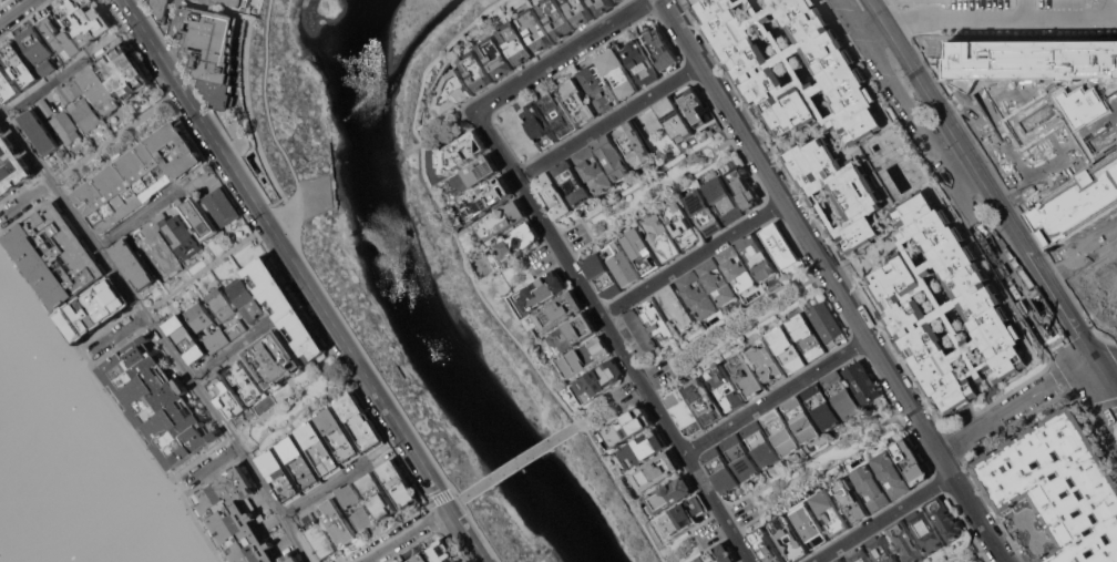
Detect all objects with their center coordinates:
building: (619, 0)
building: (225, 2)
building: (603, 6)
road: (13, 9)
building: (161, 9)
building: (580, 11)
road: (965, 13)
building: (556, 18)
road: (853, 18)
building: (84, 20)
road: (172, 28)
building: (536, 30)
building: (59, 38)
building: (516, 42)
building: (39, 49)
building: (659, 49)
building: (213, 51)
road: (562, 54)
building: (496, 57)
building: (639, 62)
building: (19, 64)
building: (122, 68)
building: (476, 70)
building: (617, 73)
building: (7, 85)
road: (41, 88)
building: (598, 88)
building: (69, 91)
building: (98, 91)
building: (454, 91)
road: (901, 94)
building: (578, 100)
building: (696, 105)
building: (44, 108)
building: (84, 113)
building: (558, 113)
building: (674, 119)
building: (1055, 119)
road: (608, 120)
road: (270, 123)
building: (539, 125)
building: (65, 126)
building: (39, 133)
road: (987, 134)
road: (117, 135)
road: (237, 135)
road: (25, 144)
building: (634, 144)
building: (462, 151)
building: (614, 156)
building: (12, 166)
building: (594, 170)
building: (474, 174)
building: (139, 176)
road: (1036, 177)
road: (983, 178)
building: (573, 182)
road: (959, 185)
building: (742, 186)
road: (650, 188)
building: (553, 195)
building: (870, 196)
building: (488, 197)
road: (25, 200)
building: (724, 200)
building: (223, 206)
building: (704, 212)
building: (198, 216)
road: (139, 218)
building: (502, 219)
building: (683, 224)
building: (178, 233)
building: (139, 234)
building: (663, 237)
road: (994, 241)
building: (515, 242)
building: (778, 245)
building: (643, 251)
building: (55, 254)
building: (162, 255)
building: (758, 256)
road: (693, 258)
building: (622, 263)
building: (133, 264)
road: (206, 267)
building: (737, 268)
building: (602, 275)
road: (306, 280)
road: (833, 280)
building: (717, 282)
road: (475, 286)
building: (542, 290)
building: (697, 294)
building: (246, 298)
building: (221, 305)
building: (286, 307)
building: (677, 307)
building: (93, 308)
building: (560, 310)
road: (1042, 314)
building: (656, 318)
building: (827, 324)
building: (206, 325)
building: (236, 328)
road: (736, 328)
building: (637, 333)
road: (116, 334)
building: (572, 334)
road: (612, 335)
building: (807, 336)
building: (186, 339)
building: (787, 349)
road: (228, 350)
road: (1105, 355)
building: (584, 356)
traffic signals: (1093, 358)
building: (275, 359)
road: (1084, 361)
building: (767, 362)
road: (1097, 366)
road: (184, 369)
road: (1079, 371)
road: (1109, 372)
traffic signals: (1103, 374)
building: (747, 375)
road: (1093, 376)
traffic signals: (1084, 378)
building: (598, 379)
building: (246, 381)
building: (862, 381)
road: (1109, 385)
building: (726, 387)
building: (842, 394)
building: (227, 395)
road: (776, 395)
building: (706, 400)
building: (157, 403)
road: (613, 405)
road: (1100, 405)
building: (821, 406)
road: (300, 407)
road: (1007, 409)
building: (685, 412)
building: (801, 419)
building: (360, 421)
building: (628, 426)
building: (781, 431)
building: (339, 435)
building: (760, 445)
building: (319, 449)
building: (643, 449)
road: (158, 457)
building: (740, 457)
building: (910, 460)
road: (521, 461)
building: (300, 462)
road: (820, 467)
road: (209, 468)
building: (720, 469)
building: (656, 471)
building: (891, 473)
building: (281, 476)
building: (399, 484)
building: (870, 487)
road: (324, 489)
building: (1055, 491)
building: (349, 494)
building: (378, 495)
building: (669, 495)
building: (849, 499)
road: (455, 503)
building: (830, 511)
building: (682, 515)
building: (944, 517)
building: (234, 518)
road: (882, 518)
building: (363, 519)
building: (338, 522)
building: (809, 523)
building: (925, 531)
road: (406, 534)
building: (318, 537)
road: (710, 537)
building: (790, 538)
building: (905, 543)
building: (767, 545)
building: (882, 549)
building: (442, 552)
building: (718, 554)
building: (858, 554)
road: (983, 554)
building: (291, 556)
building: (420, 558)
building: (839, 560)
building: (404, 561)

